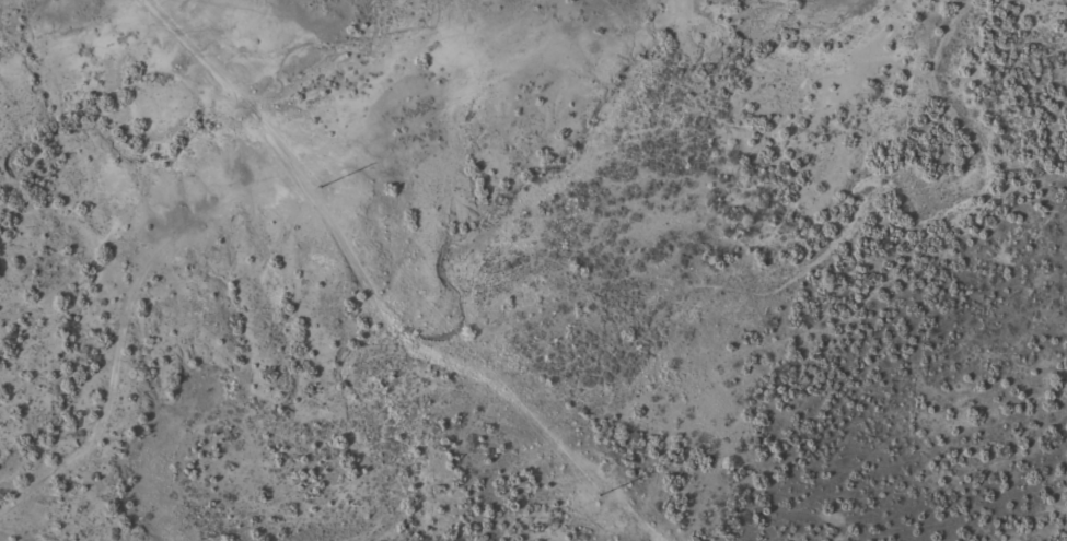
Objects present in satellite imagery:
power tower: (326, 190)
power tower: (596, 490)

